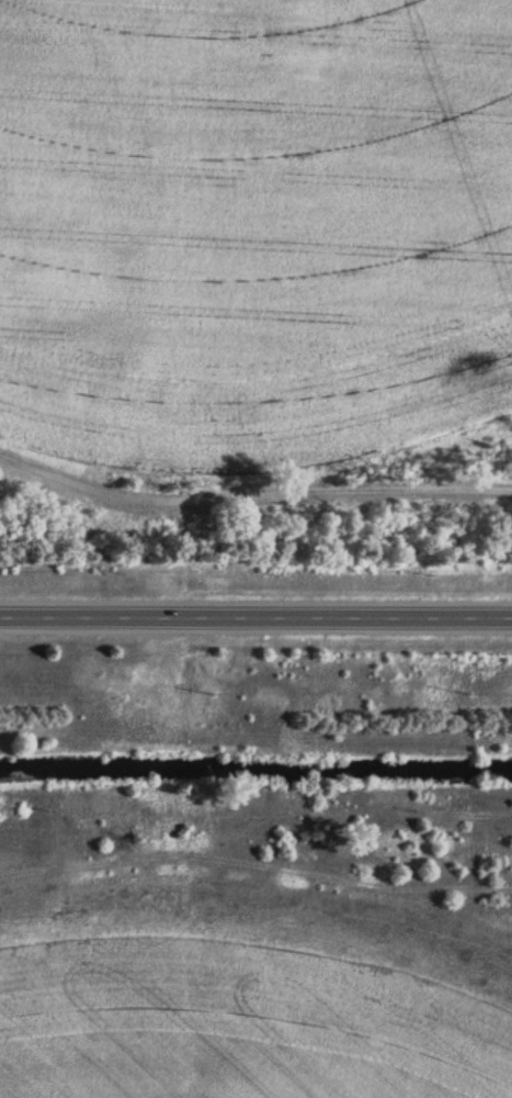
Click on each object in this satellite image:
road: (255, 615)

